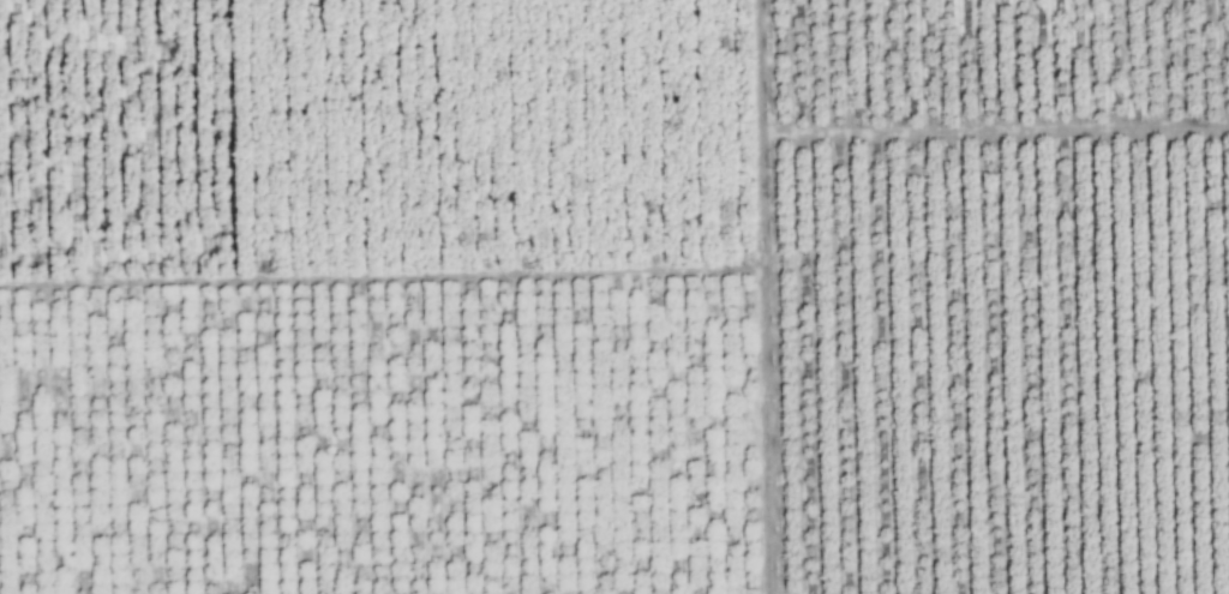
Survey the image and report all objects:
wastewater plant: (882, 254)

